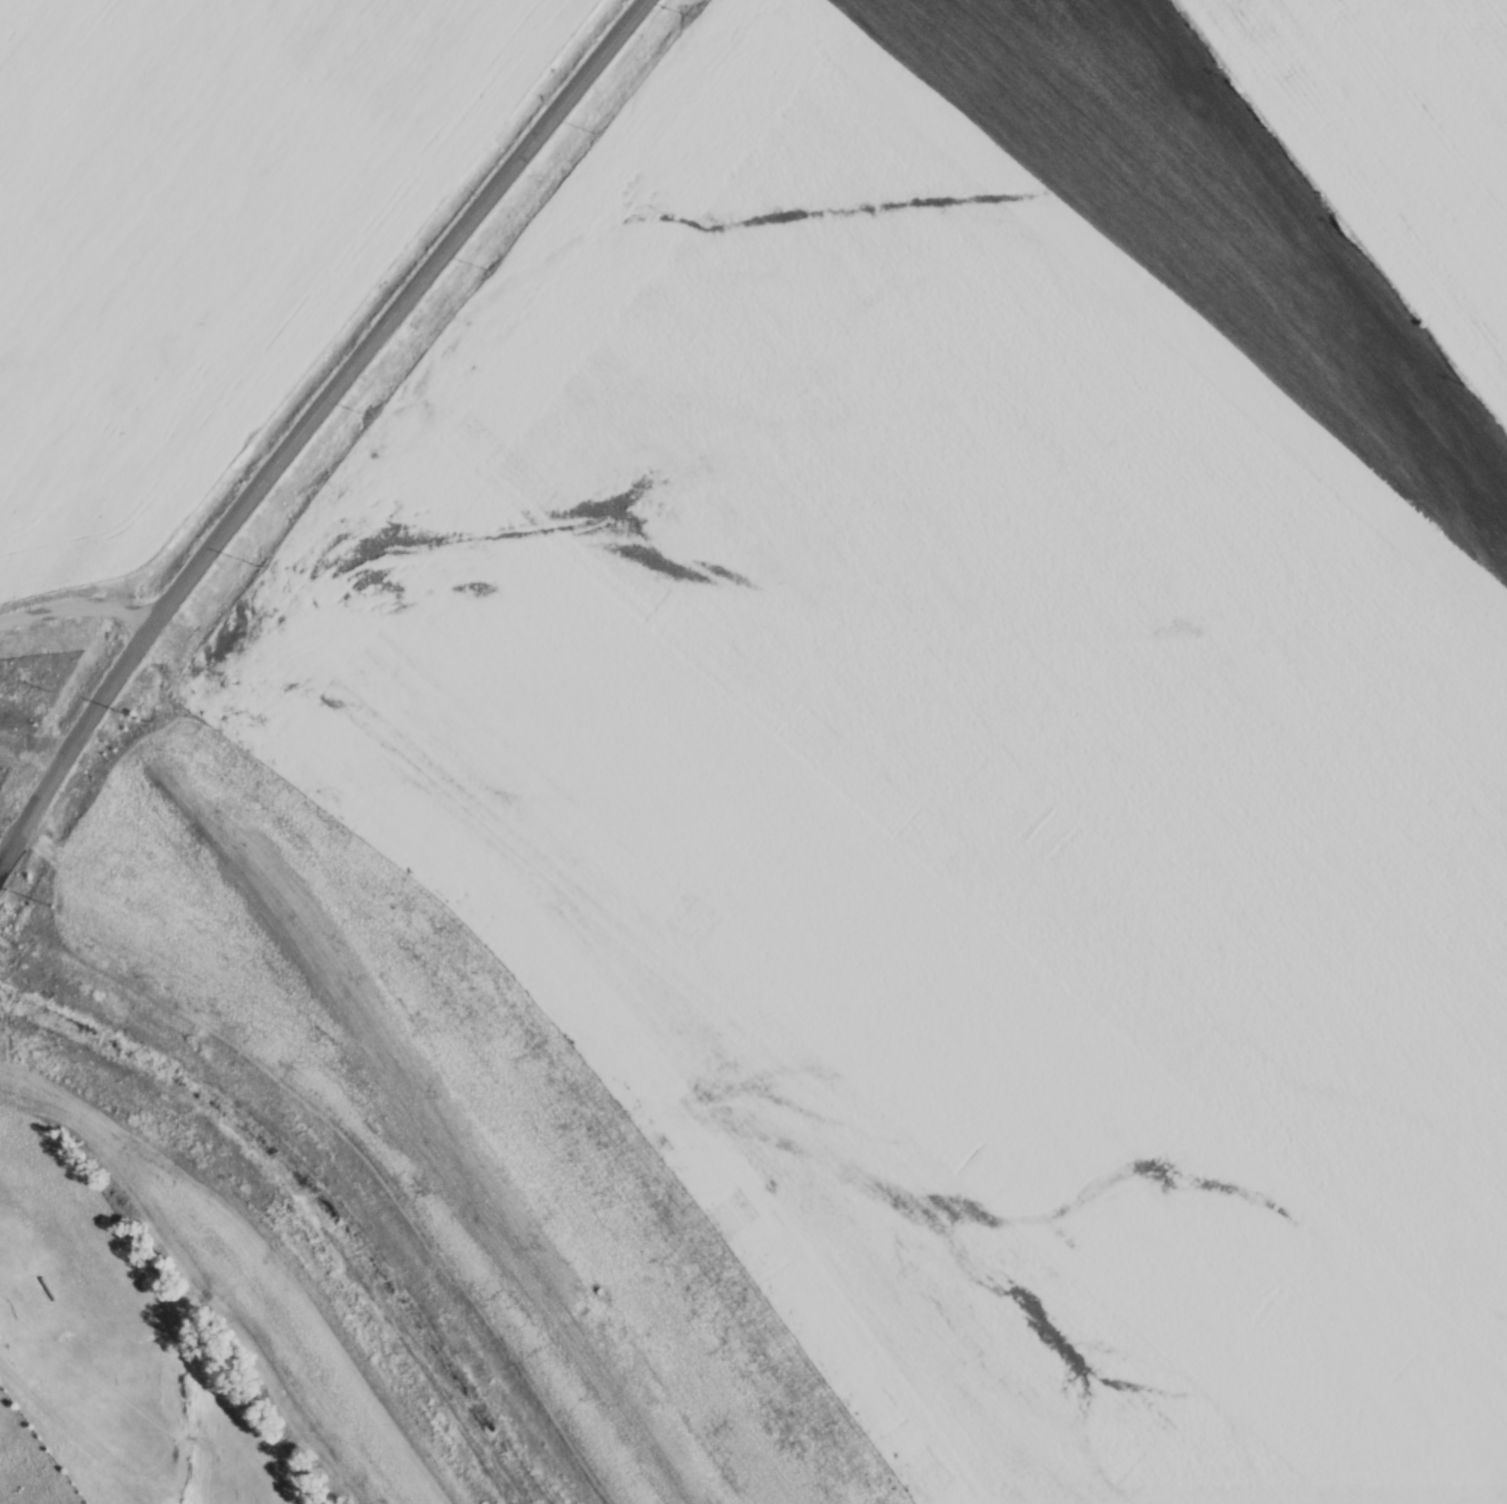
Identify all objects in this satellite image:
crop: (202, 117)
road: (307, 430)

